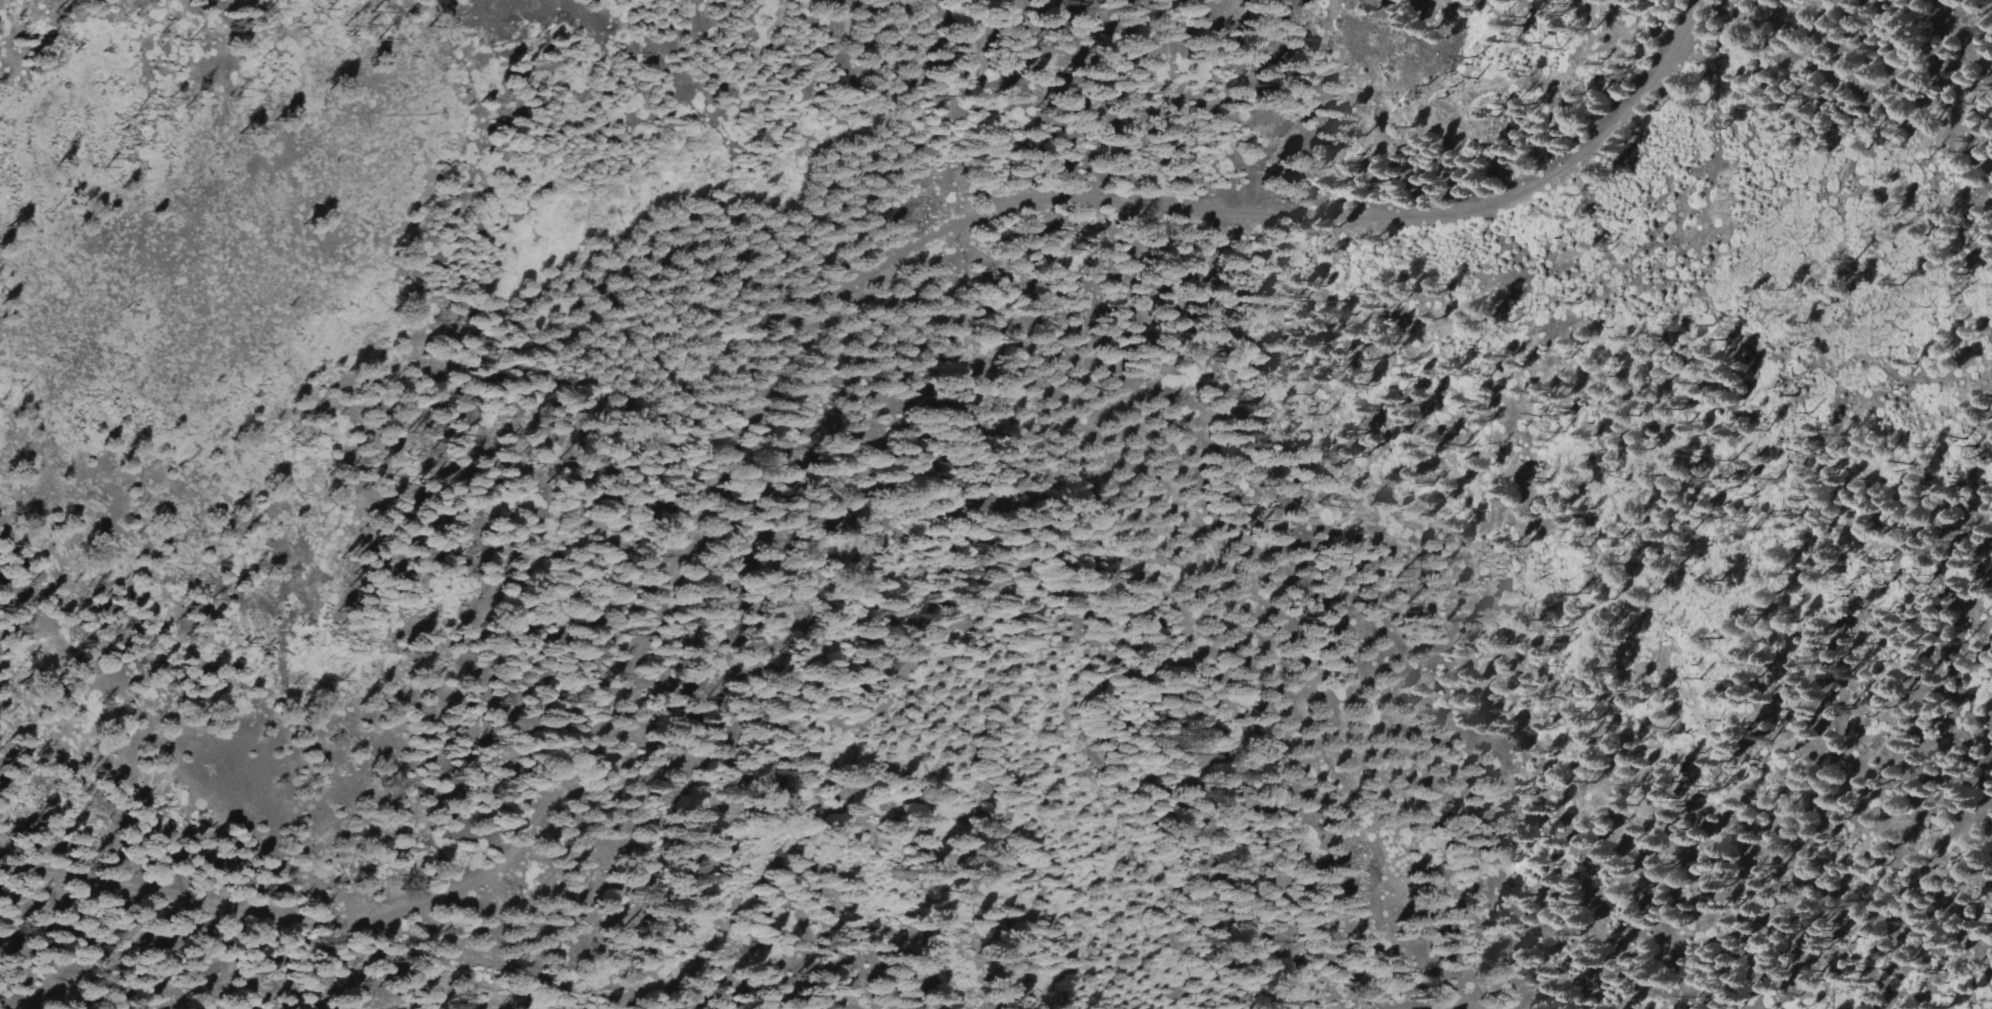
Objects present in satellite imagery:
road: (781, 382)

